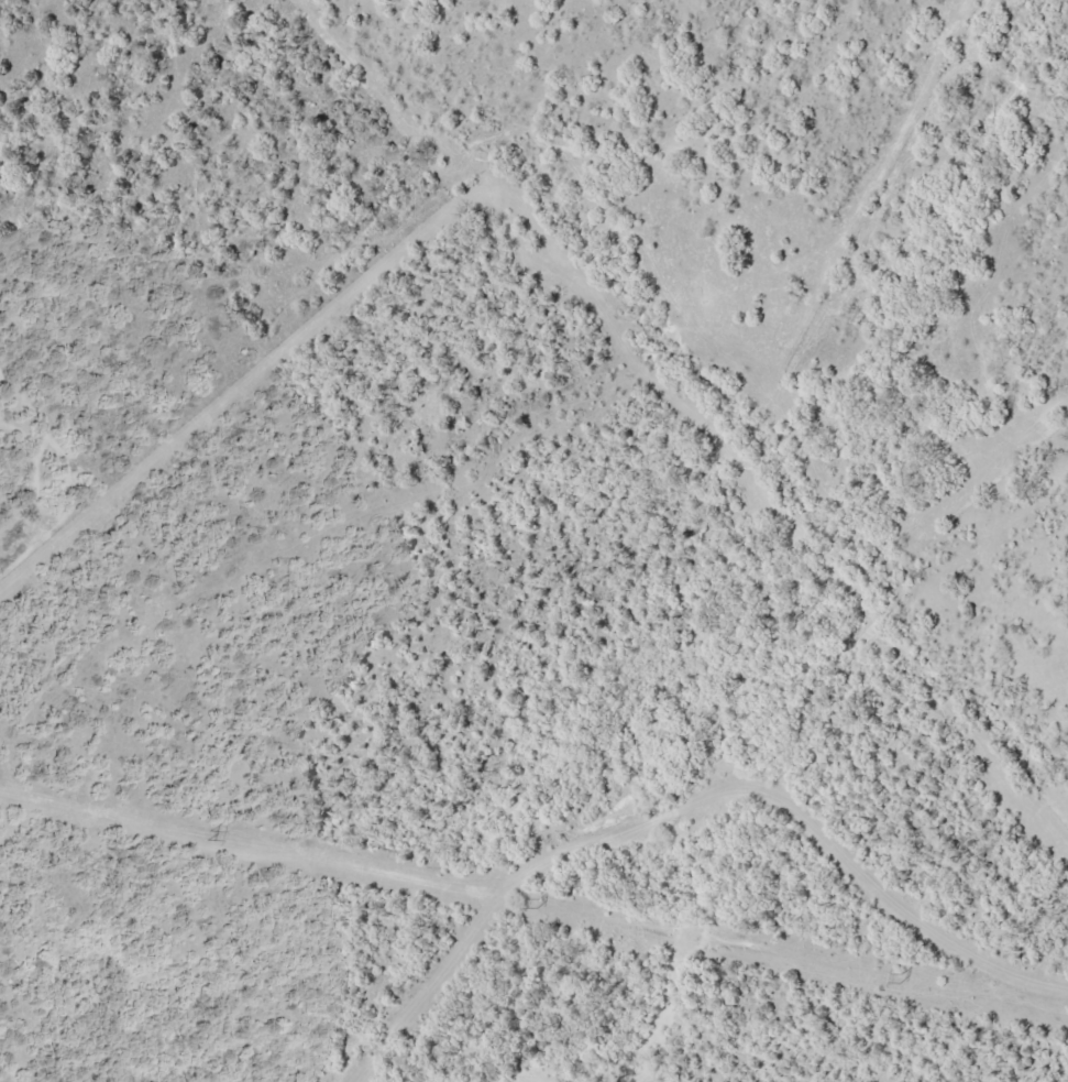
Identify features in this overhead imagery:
road: (690, 807)
power tower: (207, 832)
power tower: (537, 901)
power tower: (901, 977)

